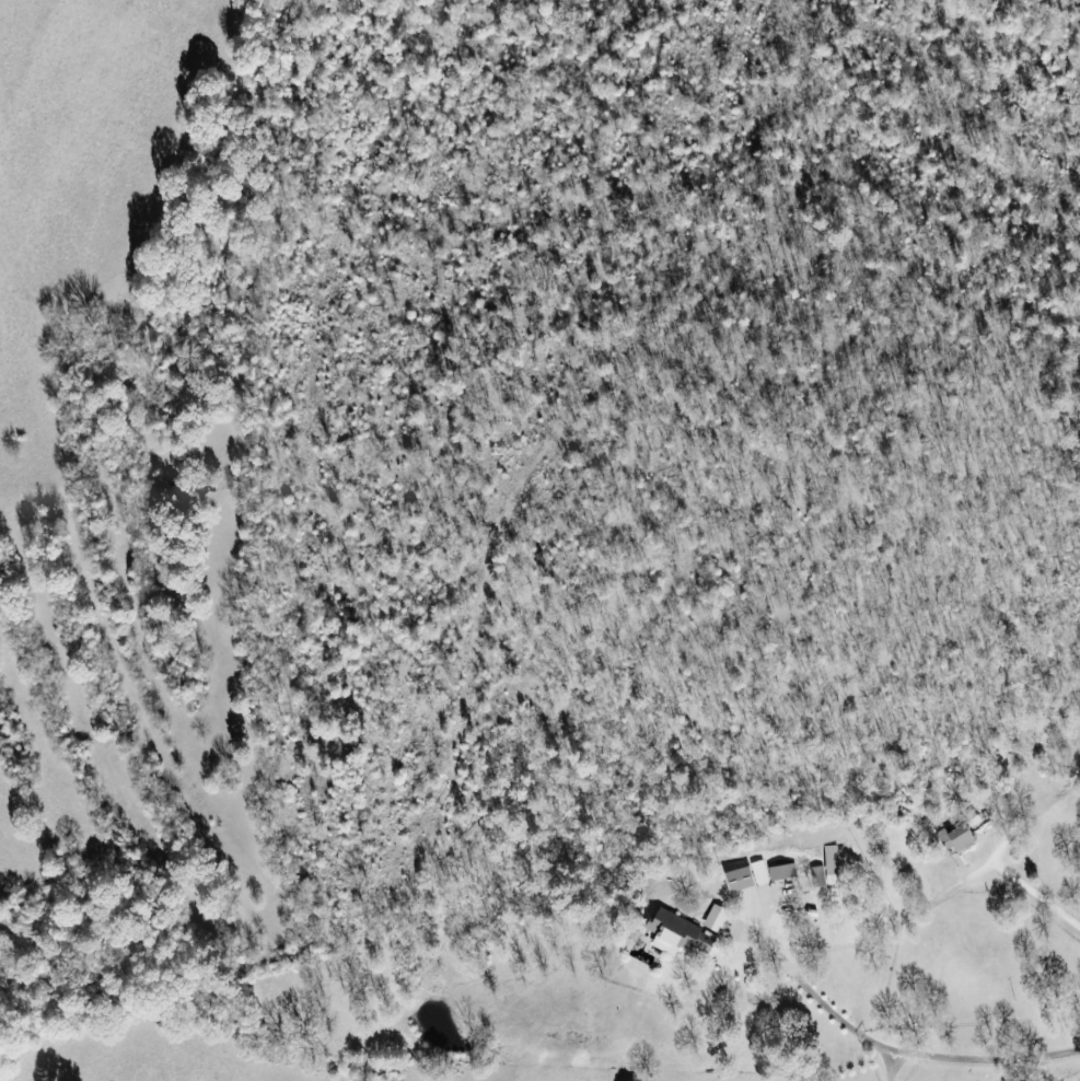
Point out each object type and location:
building: (960, 837)
building: (836, 865)
building: (785, 872)
building: (820, 876)
building: (751, 877)
road: (1043, 904)
building: (718, 919)
building: (676, 940)

